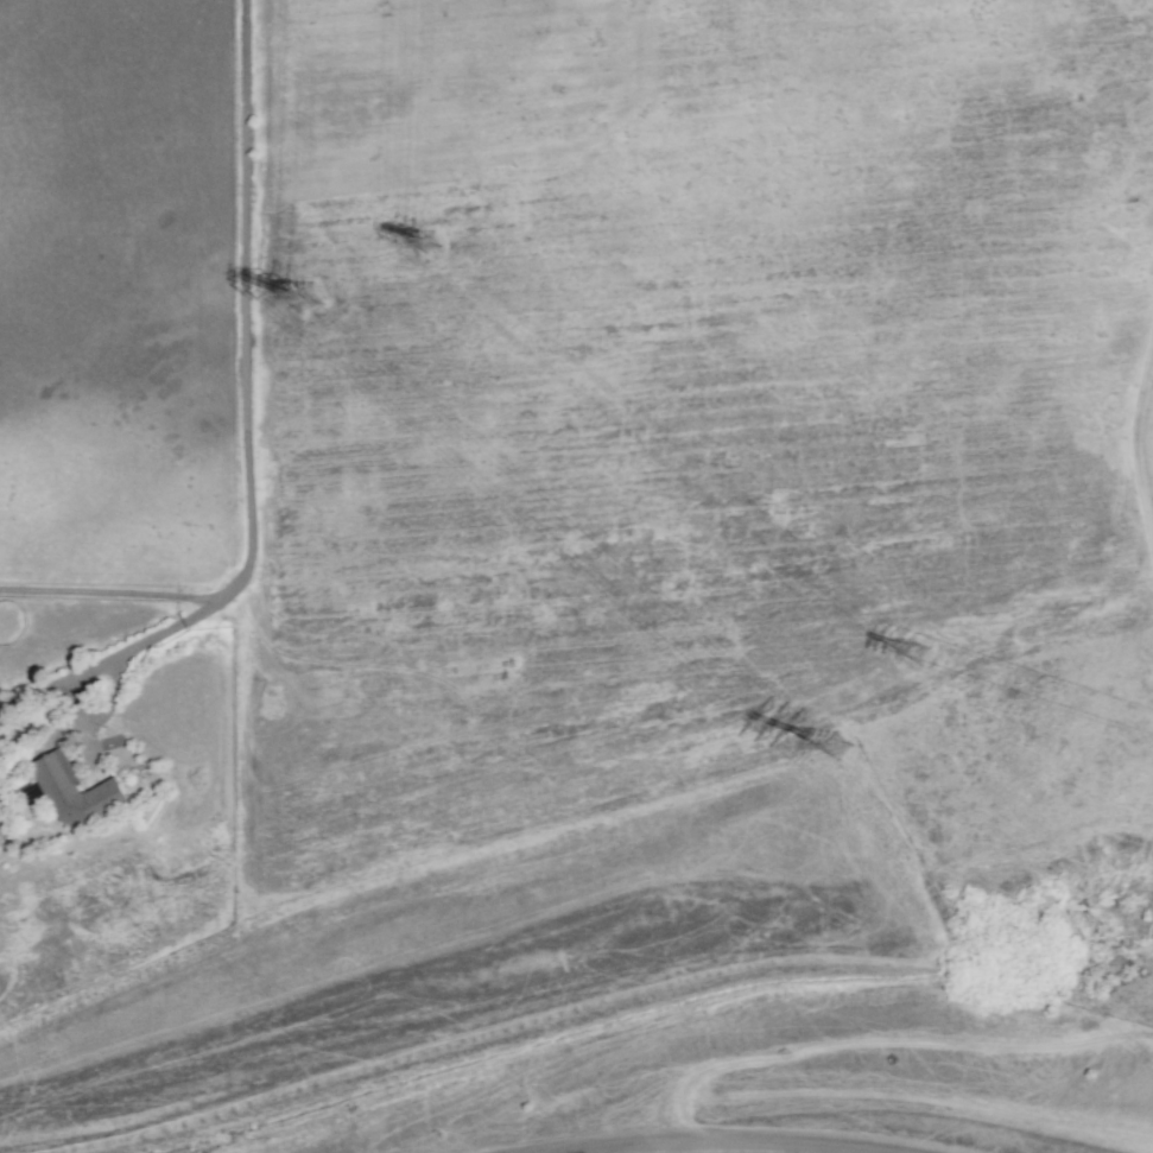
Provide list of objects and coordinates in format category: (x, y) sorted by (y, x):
road: (747, 77)
power tower: (439, 228)
power tower: (306, 316)
road: (245, 427)
road: (109, 591)
power tower: (931, 646)
road: (72, 701)
road: (103, 711)
power tower: (864, 749)
building: (74, 790)
building: (1, 800)
road: (742, 1132)

